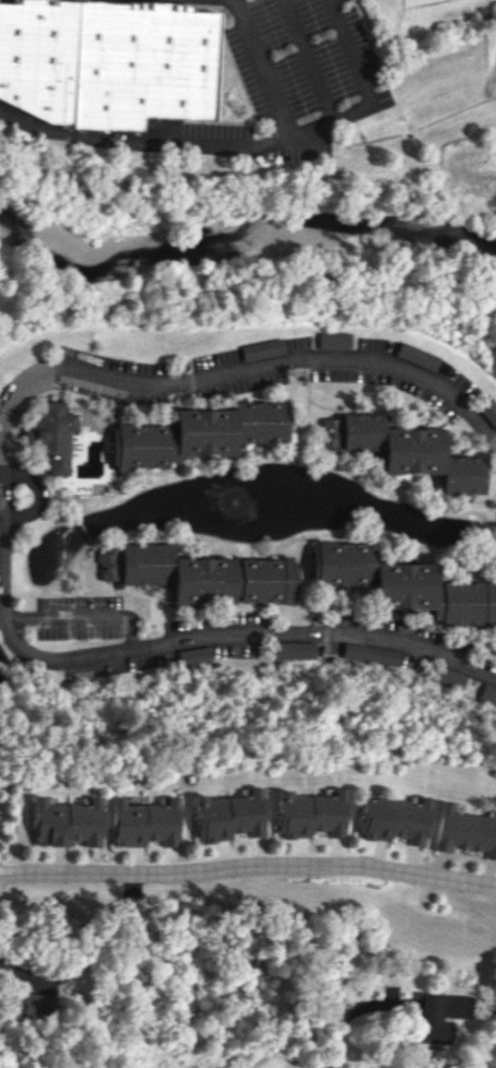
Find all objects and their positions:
road: (308, 59)
building: (106, 61)
road: (260, 71)
road: (250, 141)
building: (332, 340)
building: (261, 348)
building: (415, 356)
road: (206, 383)
building: (486, 410)
building: (197, 434)
building: (54, 436)
building: (402, 450)
road: (0, 470)
road: (43, 491)
road: (0, 511)
building: (199, 574)
building: (403, 583)
road: (188, 644)
building: (292, 651)
building: (371, 653)
building: (194, 655)
building: (449, 678)
building: (487, 693)
building: (307, 814)
building: (226, 815)
building: (390, 819)
building: (64, 822)
building: (142, 822)
building: (463, 831)
road: (248, 854)
road: (248, 864)
building: (33, 1005)
building: (435, 1016)
road: (336, 1022)

